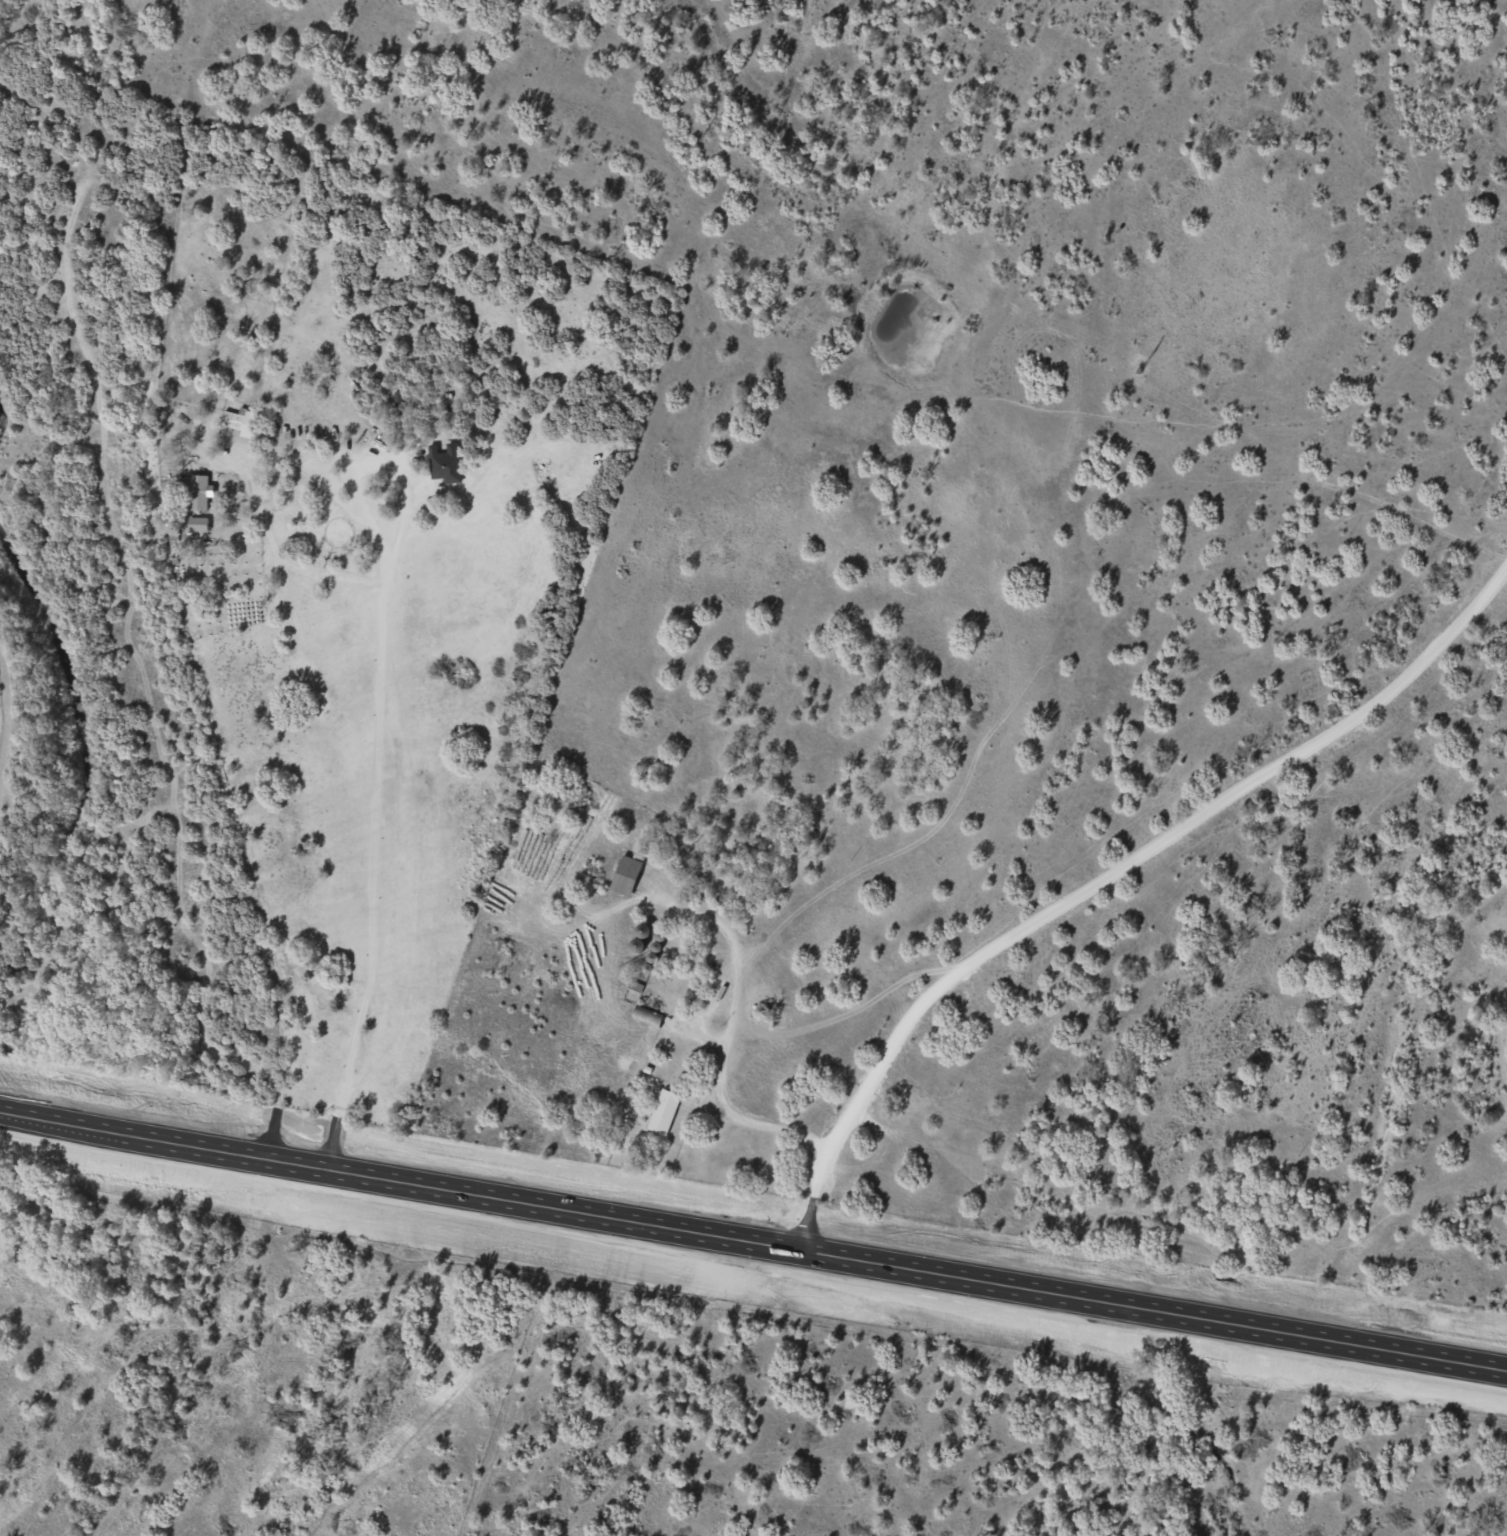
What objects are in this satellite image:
power tower: (688, 152)
power tower: (1140, 368)
building: (240, 421)
building: (445, 462)
building: (199, 493)
building: (198, 524)
road: (1091, 848)
building: (627, 876)
building: (643, 1014)
building: (664, 1112)
road: (752, 1242)

